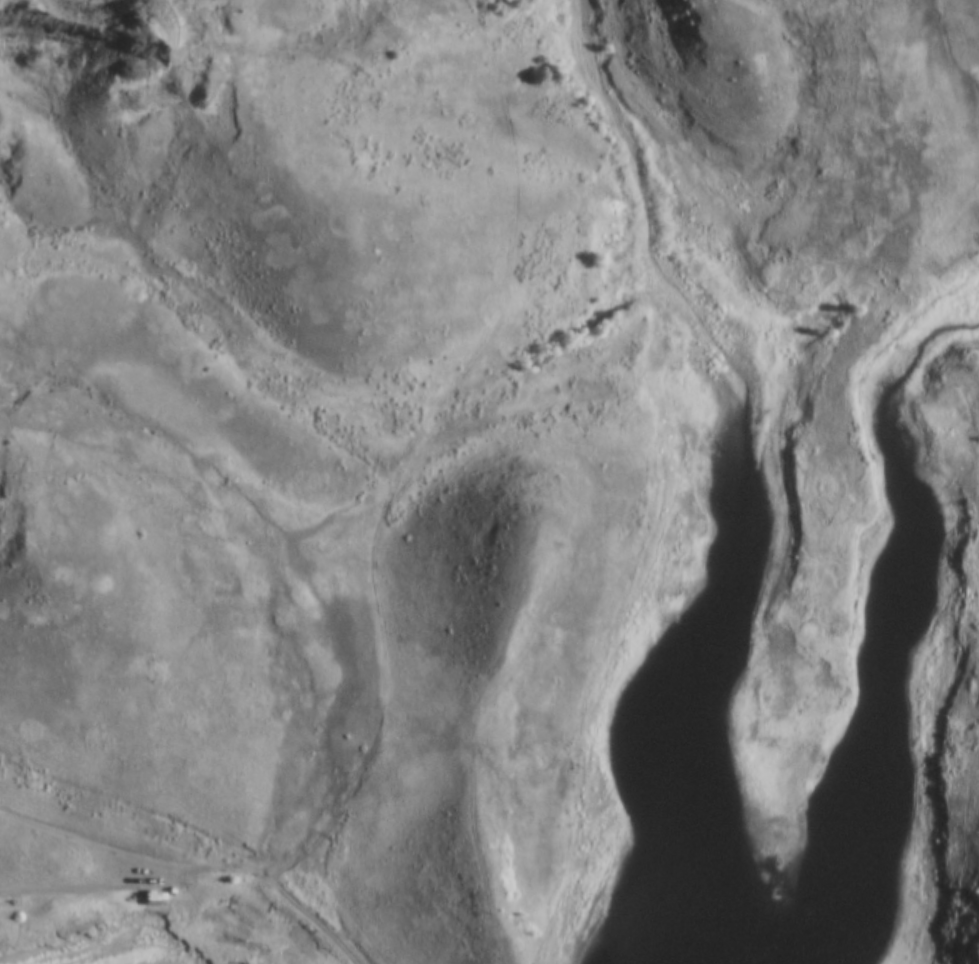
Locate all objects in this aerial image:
road: (414, 450)
road: (132, 851)

